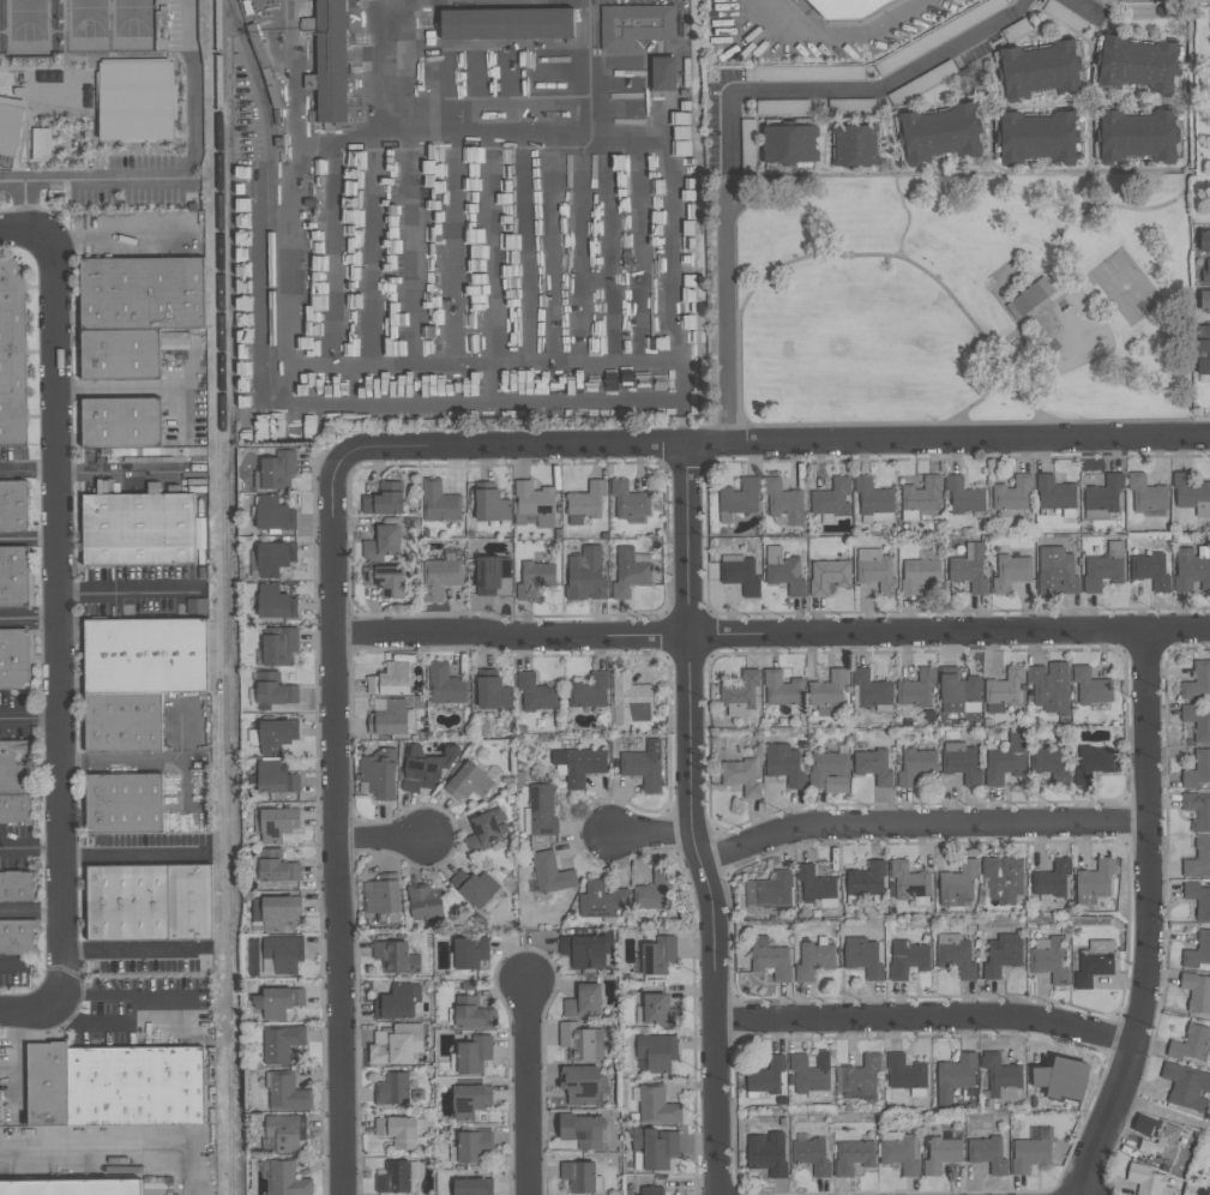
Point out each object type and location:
building: (1098, 1)
road: (586, 2)
building: (850, 8)
building: (1152, 10)
building: (1064, 17)
building: (507, 24)
park: (77, 25)
building: (634, 25)
building: (1015, 31)
road: (837, 34)
building: (938, 36)
road: (586, 52)
building: (329, 60)
building: (1137, 65)
building: (1039, 71)
building: (663, 73)
building: (803, 74)
building: (921, 83)
road: (892, 84)
building: (18, 92)
road: (1091, 100)
building: (134, 101)
building: (851, 104)
building: (781, 107)
building: (11, 128)
road: (729, 134)
building: (939, 136)
building: (1136, 138)
building: (1036, 139)
building: (788, 143)
building: (40, 145)
building: (747, 145)
building: (854, 145)
road: (187, 168)
road: (11, 182)
road: (1180, 194)
railway: (273, 198)
road: (672, 208)
road: (26, 209)
road: (910, 216)
road: (23, 232)
building: (1204, 241)
road: (919, 266)
building: (1205, 272)
building: (144, 292)
park: (963, 299)
building: (1034, 299)
building: (1204, 300)
road: (728, 308)
road: (1043, 313)
railway: (224, 337)
building: (1203, 349)
building: (13, 352)
road: (288, 352)
building: (122, 354)
road: (967, 413)
building: (122, 421)
road: (769, 446)
road: (28, 468)
building: (277, 470)
parking lot: (31, 481)
building: (1053, 493)
building: (1012, 494)
building: (1103, 494)
building: (1144, 494)
building: (1191, 494)
building: (921, 496)
building: (739, 497)
building: (963, 497)
building: (872, 498)
building: (831, 499)
building: (384, 500)
building: (586, 500)
building: (627, 500)
building: (782, 502)
building: (438, 503)
building: (531, 505)
building: (14, 506)
building: (490, 506)
building: (272, 514)
building: (140, 529)
road: (28, 540)
building: (381, 542)
building: (273, 559)
building: (968, 569)
building: (1103, 569)
building: (783, 571)
building: (874, 571)
building: (1150, 571)
building: (1191, 571)
building: (628, 572)
building: (1010, 572)
building: (1055, 572)
building: (920, 574)
building: (490, 575)
building: (584, 576)
building: (16, 577)
building: (740, 577)
building: (827, 577)
building: (534, 578)
building: (384, 580)
building: (439, 580)
road: (151, 593)
road: (82, 595)
building: (275, 602)
road: (28, 620)
road: (56, 620)
road: (771, 635)
building: (278, 647)
building: (146, 654)
building: (16, 659)
building: (389, 681)
building: (1197, 681)
building: (445, 685)
building: (1090, 686)
building: (1004, 687)
building: (1049, 687)
building: (782, 689)
building: (869, 689)
building: (917, 689)
building: (827, 690)
building: (273, 691)
building: (588, 691)
building: (739, 691)
building: (957, 692)
building: (492, 693)
building: (535, 693)
building: (628, 699)
road: (29, 717)
building: (389, 719)
building: (125, 721)
building: (1197, 722)
building: (275, 737)
building: (961, 763)
building: (1091, 763)
building: (1049, 764)
building: (579, 765)
building: (783, 765)
building: (914, 765)
building: (17, 767)
building: (422, 767)
building: (873, 767)
building: (1003, 767)
building: (642, 769)
building: (1197, 769)
building: (378, 773)
building: (829, 773)
building: (740, 777)
building: (275, 779)
building: (468, 782)
building: (125, 801)
building: (16, 809)
building: (1198, 811)
building: (541, 815)
road: (691, 822)
building: (276, 824)
road: (921, 828)
road: (335, 830)
building: (483, 831)
road: (650, 833)
road: (379, 835)
road: (10, 847)
road: (40, 847)
road: (133, 853)
building: (1198, 859)
building: (276, 867)
building: (549, 873)
building: (1095, 878)
building: (865, 879)
building: (1003, 879)
building: (1051, 879)
building: (908, 881)
building: (814, 884)
building: (957, 884)
building: (17, 887)
building: (472, 887)
building: (769, 890)
building: (652, 891)
building: (383, 897)
building: (1198, 900)
building: (192, 901)
building: (601, 901)
building: (130, 902)
building: (423, 902)
road: (30, 911)
building: (278, 913)
road: (1146, 918)
railway: (231, 933)
building: (16, 937)
road: (133, 950)
building: (583, 951)
building: (1197, 951)
building: (469, 953)
building: (282, 954)
building: (1001, 955)
building: (656, 956)
building: (953, 956)
building: (395, 957)
building: (861, 957)
building: (769, 960)
building: (813, 960)
building: (905, 960)
building: (1049, 961)
building: (1094, 963)
road: (10, 966)
building: (1196, 992)
building: (582, 1001)
building: (277, 1002)
building: (396, 1002)
road: (26, 1010)
building: (658, 1011)
road: (189, 1014)
building: (471, 1014)
road: (928, 1017)
building: (579, 1043)
building: (281, 1044)
building: (1190, 1044)
building: (395, 1045)
building: (655, 1053)
building: (472, 1055)
building: (809, 1073)
building: (904, 1073)
building: (956, 1073)
building: (861, 1074)
building: (764, 1077)
building: (999, 1079)
building: (1049, 1083)
building: (46, 1085)
building: (1185, 1085)
building: (582, 1086)
building: (136, 1087)
building: (391, 1089)
road: (525, 1089)
building: (285, 1093)
building: (468, 1101)
building: (655, 1106)
building: (580, 1130)
building: (396, 1131)
building: (285, 1133)
building: (1158, 1142)
building: (474, 1147)
building: (654, 1147)
road: (119, 1148)
building: (766, 1154)
building: (986, 1154)
building: (898, 1155)
building: (940, 1155)
building: (1029, 1155)
building: (809, 1157)
building: (851, 1158)
building: (577, 1177)
building: (392, 1178)
building: (285, 1179)
building: (1145, 1181)
building: (471, 1187)
building: (162, 1188)
building: (72, 1189)
building: (650, 1190)
building: (1208, 1191)

